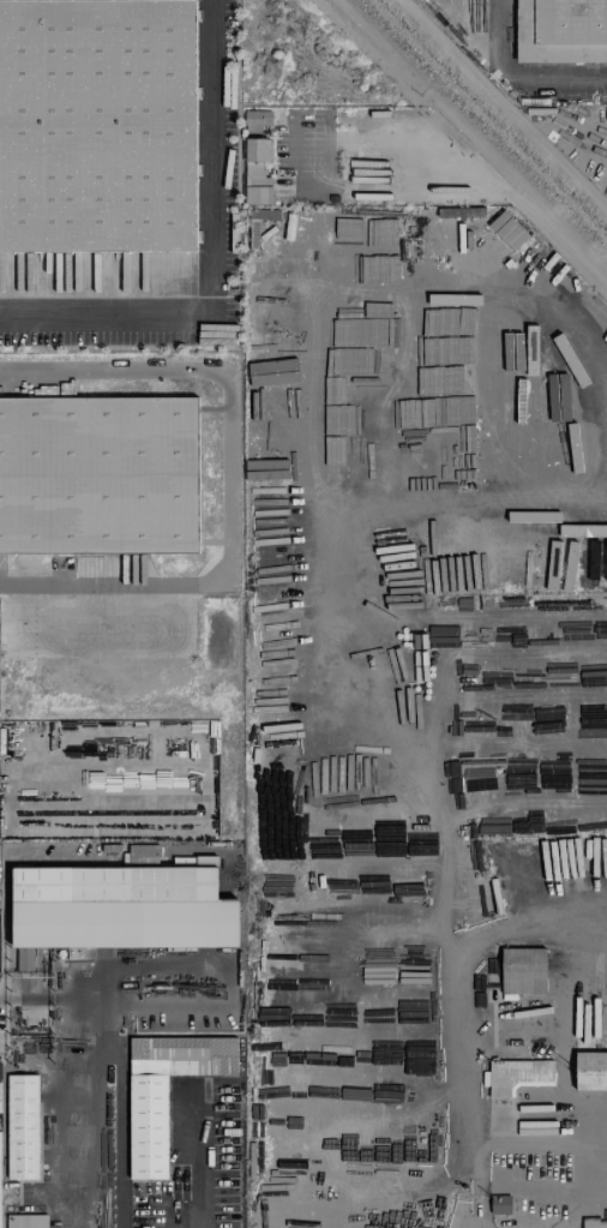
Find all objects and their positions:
building: (561, 30)
road: (519, 79)
building: (256, 120)
building: (96, 125)
road: (473, 138)
building: (257, 170)
building: (506, 230)
road: (208, 265)
building: (272, 371)
building: (290, 409)
building: (571, 448)
building: (265, 469)
building: (98, 473)
road: (229, 475)
road: (588, 514)
building: (571, 528)
building: (557, 568)
building: (122, 906)
building: (25, 960)
building: (523, 970)
road: (465, 972)
road: (49, 996)
road: (97, 1048)
building: (590, 1071)
building: (517, 1076)
building: (164, 1091)
building: (22, 1126)
road: (124, 1131)
building: (0, 1134)
road: (539, 1143)
road: (202, 1157)
building: (292, 1170)
road: (471, 1186)
building: (500, 1204)
road: (404, 1209)
building: (26, 1221)
building: (594, 1223)

